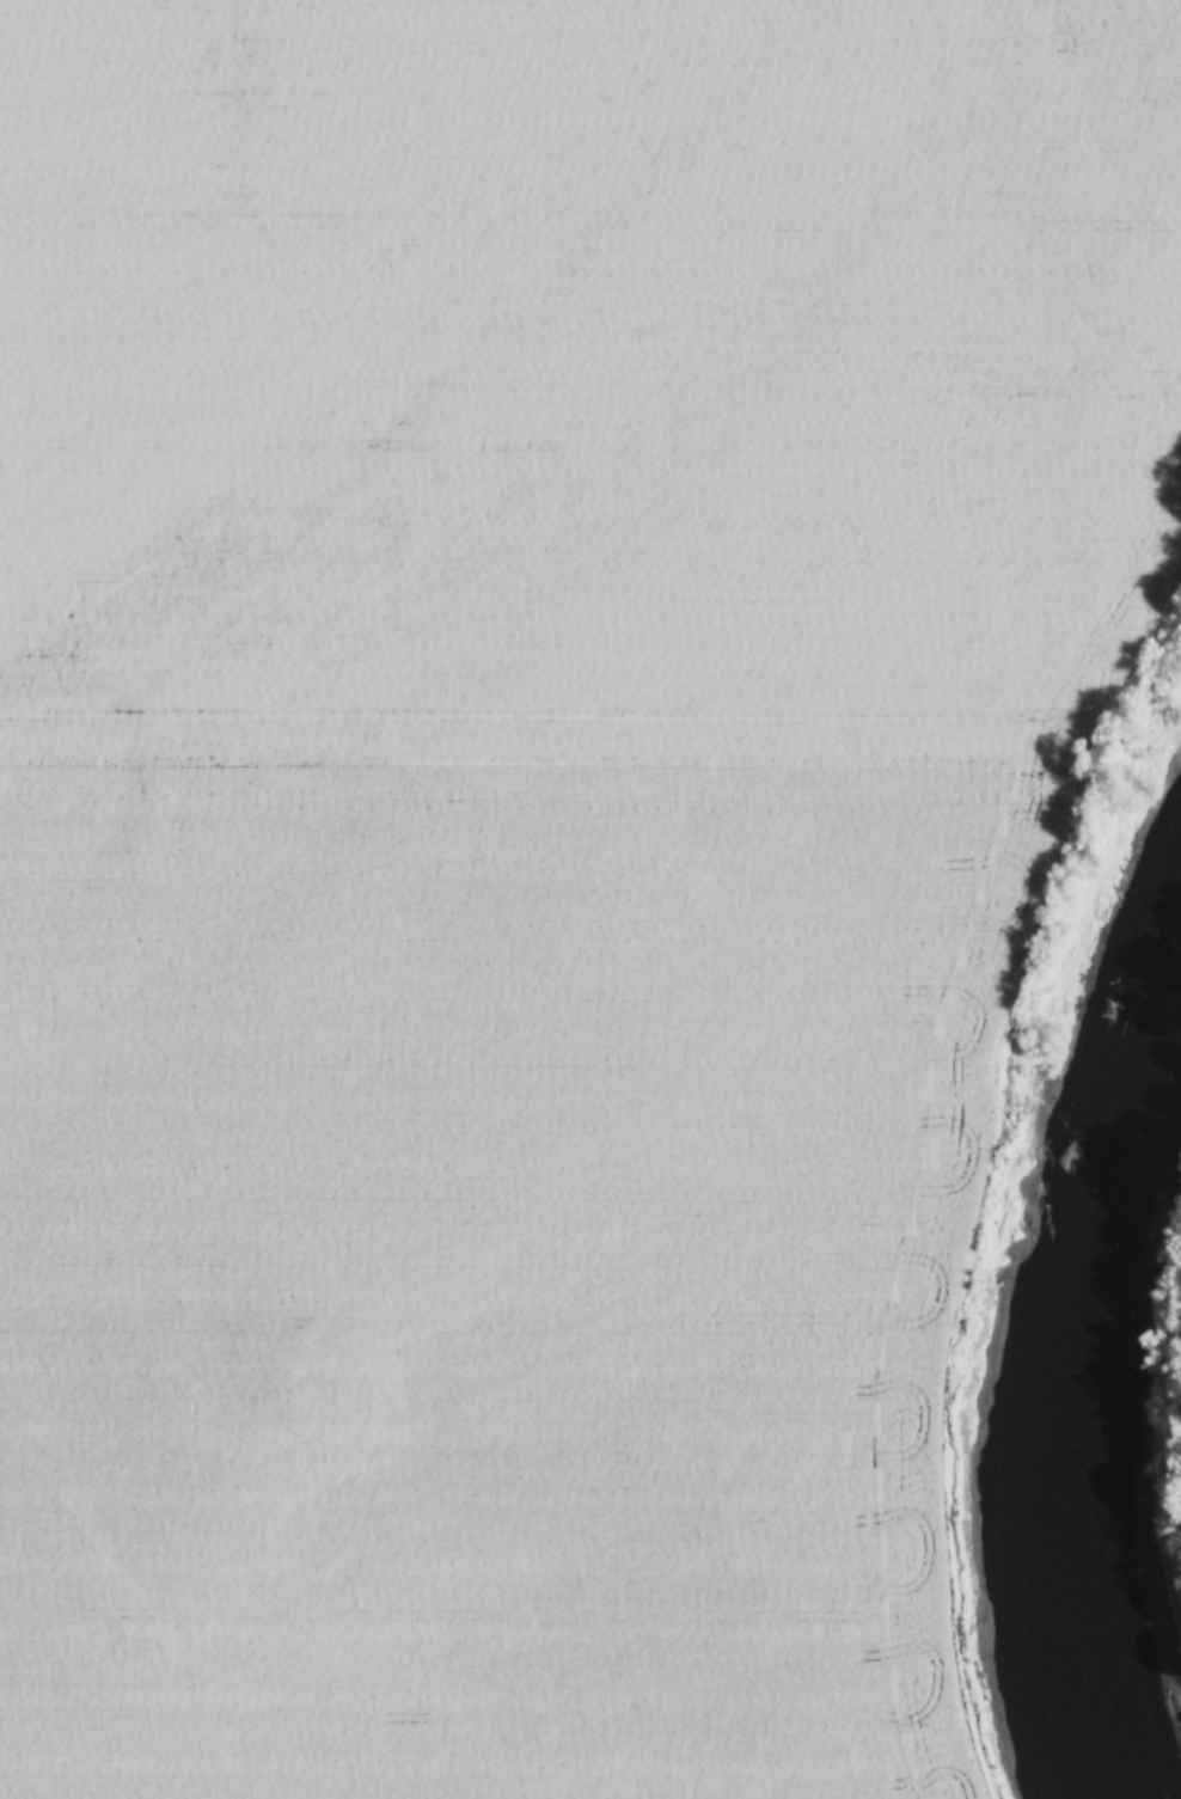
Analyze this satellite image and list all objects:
river: (1083, 1372)

